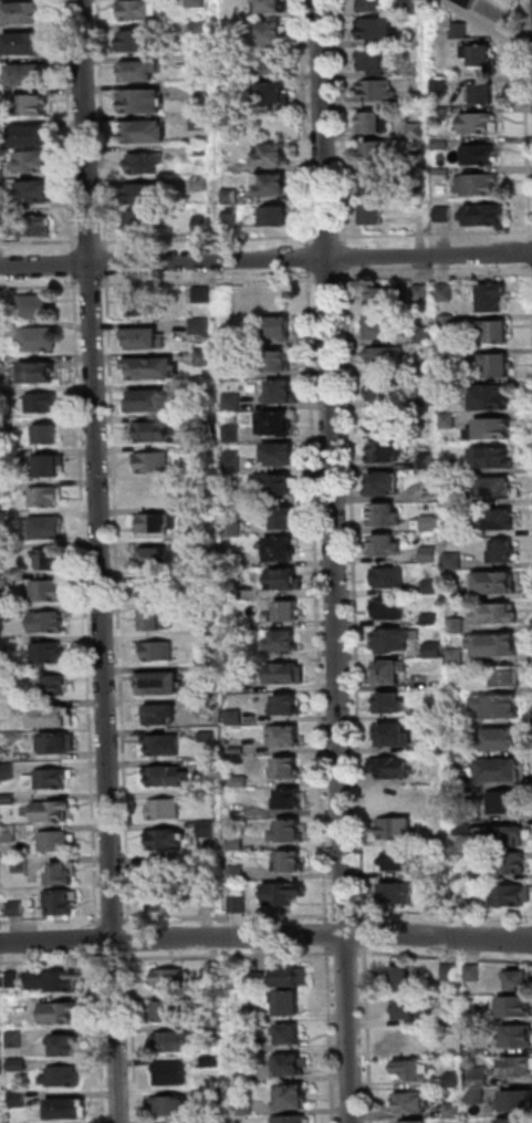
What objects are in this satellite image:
building: (467, 2)
building: (196, 3)
building: (272, 7)
building: (373, 7)
building: (411, 7)
building: (140, 10)
building: (27, 14)
road: (492, 21)
building: (199, 30)
building: (377, 31)
building: (461, 31)
building: (271, 34)
building: (415, 39)
building: (142, 42)
building: (28, 44)
building: (229, 44)
building: (483, 56)
building: (196, 61)
building: (373, 61)
building: (271, 65)
building: (140, 72)
building: (229, 73)
building: (29, 75)
building: (441, 86)
building: (378, 91)
building: (274, 95)
building: (487, 95)
building: (0, 97)
building: (417, 100)
building: (143, 103)
building: (33, 106)
building: (441, 115)
road: (525, 119)
road: (341, 122)
building: (199, 123)
road: (302, 124)
building: (376, 124)
building: (479, 124)
road: (67, 125)
building: (417, 132)
building: (145, 133)
building: (31, 136)
building: (442, 145)
building: (200, 152)
building: (376, 153)
building: (479, 156)
building: (274, 157)
building: (418, 162)
building: (35, 163)
building: (144, 164)
building: (2, 173)
building: (200, 185)
building: (377, 186)
building: (480, 186)
building: (275, 187)
building: (35, 191)
building: (419, 191)
building: (144, 195)
building: (231, 198)
building: (2, 204)
building: (231, 215)
building: (445, 215)
building: (375, 216)
building: (486, 216)
building: (275, 218)
building: (140, 222)
building: (201, 223)
building: (32, 228)
building: (1, 229)
road: (436, 236)
road: (326, 238)
road: (310, 239)
road: (531, 253)
road: (265, 259)
road: (345, 259)
road: (307, 260)
road: (73, 263)
road: (531, 271)
road: (436, 278)
road: (327, 280)
road: (312, 281)
road: (85, 287)
road: (40, 288)
building: (442, 290)
building: (419, 291)
building: (198, 293)
building: (380, 297)
building: (491, 297)
building: (140, 301)
building: (35, 306)
building: (445, 321)
building: (379, 325)
building: (278, 326)
building: (198, 329)
building: (492, 330)
building: (421, 332)
building: (138, 335)
building: (35, 337)
building: (383, 355)
building: (445, 356)
building: (280, 358)
building: (421, 364)
building: (494, 364)
building: (148, 365)
building: (0, 366)
building: (34, 371)
building: (447, 386)
building: (379, 387)
building: (281, 391)
building: (2, 394)
building: (421, 395)
building: (490, 395)
building: (145, 398)
building: (39, 401)
building: (230, 401)
building: (378, 419)
building: (271, 422)
building: (1, 427)
building: (489, 427)
building: (152, 429)
building: (424, 431)
building: (44, 433)
building: (230, 433)
building: (385, 449)
building: (281, 453)
building: (488, 456)
building: (426, 459)
building: (150, 460)
building: (231, 460)
building: (48, 462)
building: (383, 482)
building: (282, 483)
building: (493, 487)
building: (149, 493)
building: (3, 495)
building: (42, 496)
building: (448, 499)
building: (385, 512)
building: (283, 516)
building: (493, 518)
building: (4, 520)
building: (153, 522)
building: (427, 522)
building: (42, 526)
building: (448, 528)
building: (385, 543)
building: (281, 547)
building: (500, 549)
building: (428, 552)
building: (156, 555)
building: (45, 557)
building: (450, 559)
road: (100, 561)
road: (334, 561)
building: (285, 576)
building: (385, 576)
building: (4, 581)
building: (492, 581)
building: (429, 584)
building: (44, 588)
building: (150, 588)
building: (450, 591)
road: (316, 597)
road: (354, 597)
road: (84, 602)
building: (387, 607)
building: (288, 609)
building: (493, 612)
building: (4, 614)
building: (429, 615)
building: (152, 617)
building: (46, 620)
building: (453, 624)
building: (281, 640)
building: (392, 640)
building: (491, 644)
building: (6, 646)
building: (430, 648)
building: (155, 649)
building: (44, 652)
building: (453, 655)
building: (389, 670)
building: (285, 672)
building: (504, 675)
building: (434, 677)
building: (158, 680)
building: (49, 684)
building: (288, 701)
building: (390, 701)
building: (497, 704)
building: (432, 710)
building: (159, 713)
building: (49, 716)
building: (392, 732)
building: (286, 734)
building: (502, 738)
building: (54, 740)
building: (158, 742)
building: (432, 742)
building: (286, 766)
building: (388, 766)
building: (499, 768)
building: (7, 772)
building: (161, 773)
building: (49, 777)
building: (394, 794)
building: (290, 796)
building: (7, 800)
building: (501, 800)
building: (161, 808)
building: (50, 809)
building: (393, 825)
building: (288, 828)
building: (9, 834)
building: (501, 834)
building: (163, 838)
building: (54, 840)
building: (289, 859)
building: (394, 859)
building: (507, 862)
building: (21, 865)
building: (163, 871)
building: (62, 872)
building: (282, 891)
building: (396, 891)
building: (510, 894)
building: (467, 900)
building: (60, 901)
building: (163, 902)
building: (237, 903)
building: (18, 909)
road: (341, 914)
road: (441, 915)
road: (227, 916)
road: (114, 921)
road: (51, 922)
road: (326, 934)
road: (365, 935)
road: (265, 937)
road: (97, 940)
road: (132, 946)
road: (347, 955)
road: (230, 957)
road: (445, 958)
road: (121, 960)
building: (215, 973)
building: (451, 975)
building: (474, 975)
building: (50, 978)
building: (294, 978)
building: (171, 980)
building: (260, 980)
building: (405, 982)
building: (522, 985)
building: (14, 1004)
building: (290, 1005)
building: (518, 1008)
building: (55, 1011)
building: (171, 1012)
building: (408, 1012)
building: (242, 1013)
building: (215, 1031)
road: (331, 1034)
road: (368, 1034)
building: (13, 1037)
road: (134, 1037)
building: (291, 1037)
road: (101, 1038)
building: (519, 1038)
building: (177, 1042)
building: (63, 1043)
building: (244, 1046)
building: (212, 1061)
building: (15, 1063)
building: (291, 1068)
building: (518, 1069)
building: (411, 1071)
building: (173, 1074)
building: (55, 1075)
building: (244, 1075)
building: (479, 1078)
building: (455, 1082)
building: (0, 1095)
building: (13, 1098)
building: (478, 1098)
building: (295, 1100)
building: (518, 1104)
building: (414, 1105)
building: (65, 1106)
building: (175, 1108)
building: (247, 1108)
building: (455, 1112)
building: (216, 1120)
building: (292, 1121)
building: (411, 1121)
building: (17, 1122)
building: (522, 1122)

